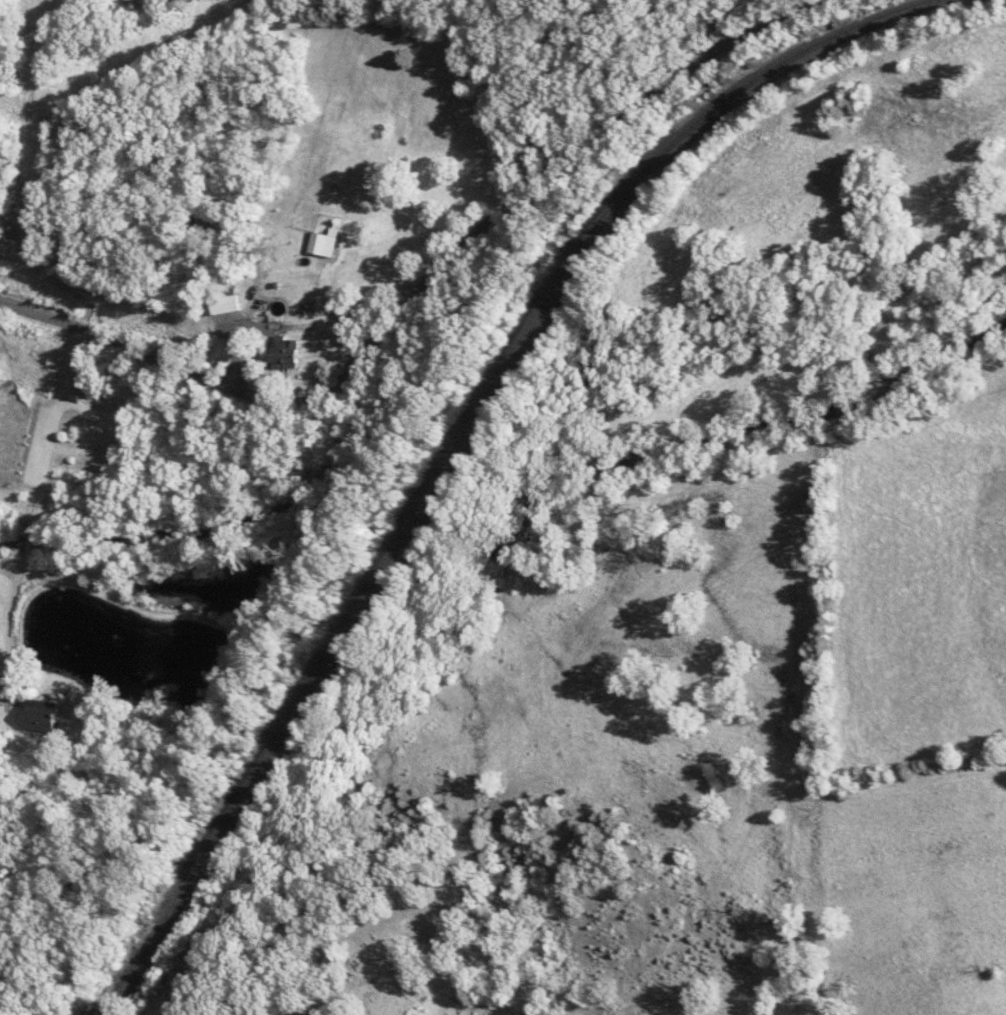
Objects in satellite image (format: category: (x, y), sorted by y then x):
road: (305, 191)
railway: (632, 193)
road: (426, 285)
building: (231, 305)
building: (290, 352)
road: (52, 433)
railway: (409, 520)
road: (27, 550)
road: (16, 592)
building: (44, 716)
railway: (241, 782)

